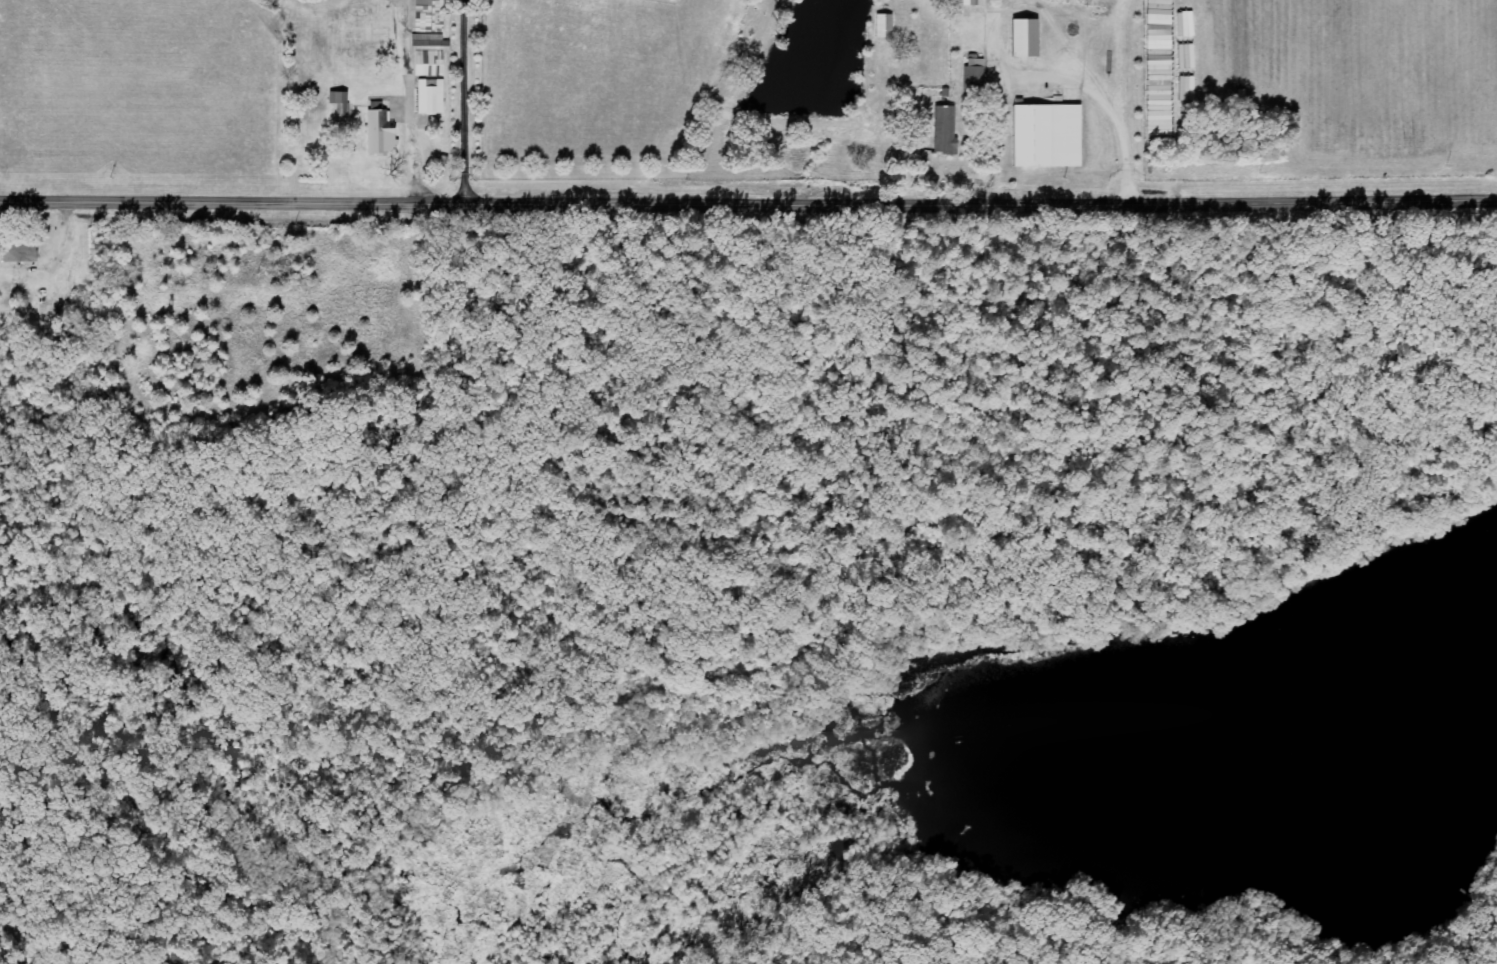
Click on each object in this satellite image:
building: (968, 2)
building: (429, 16)
building: (884, 26)
building: (1025, 38)
building: (430, 55)
building: (974, 68)
building: (431, 97)
building: (338, 98)
road: (466, 102)
building: (945, 130)
building: (380, 131)
building: (1047, 136)
road: (748, 205)
building: (19, 253)

